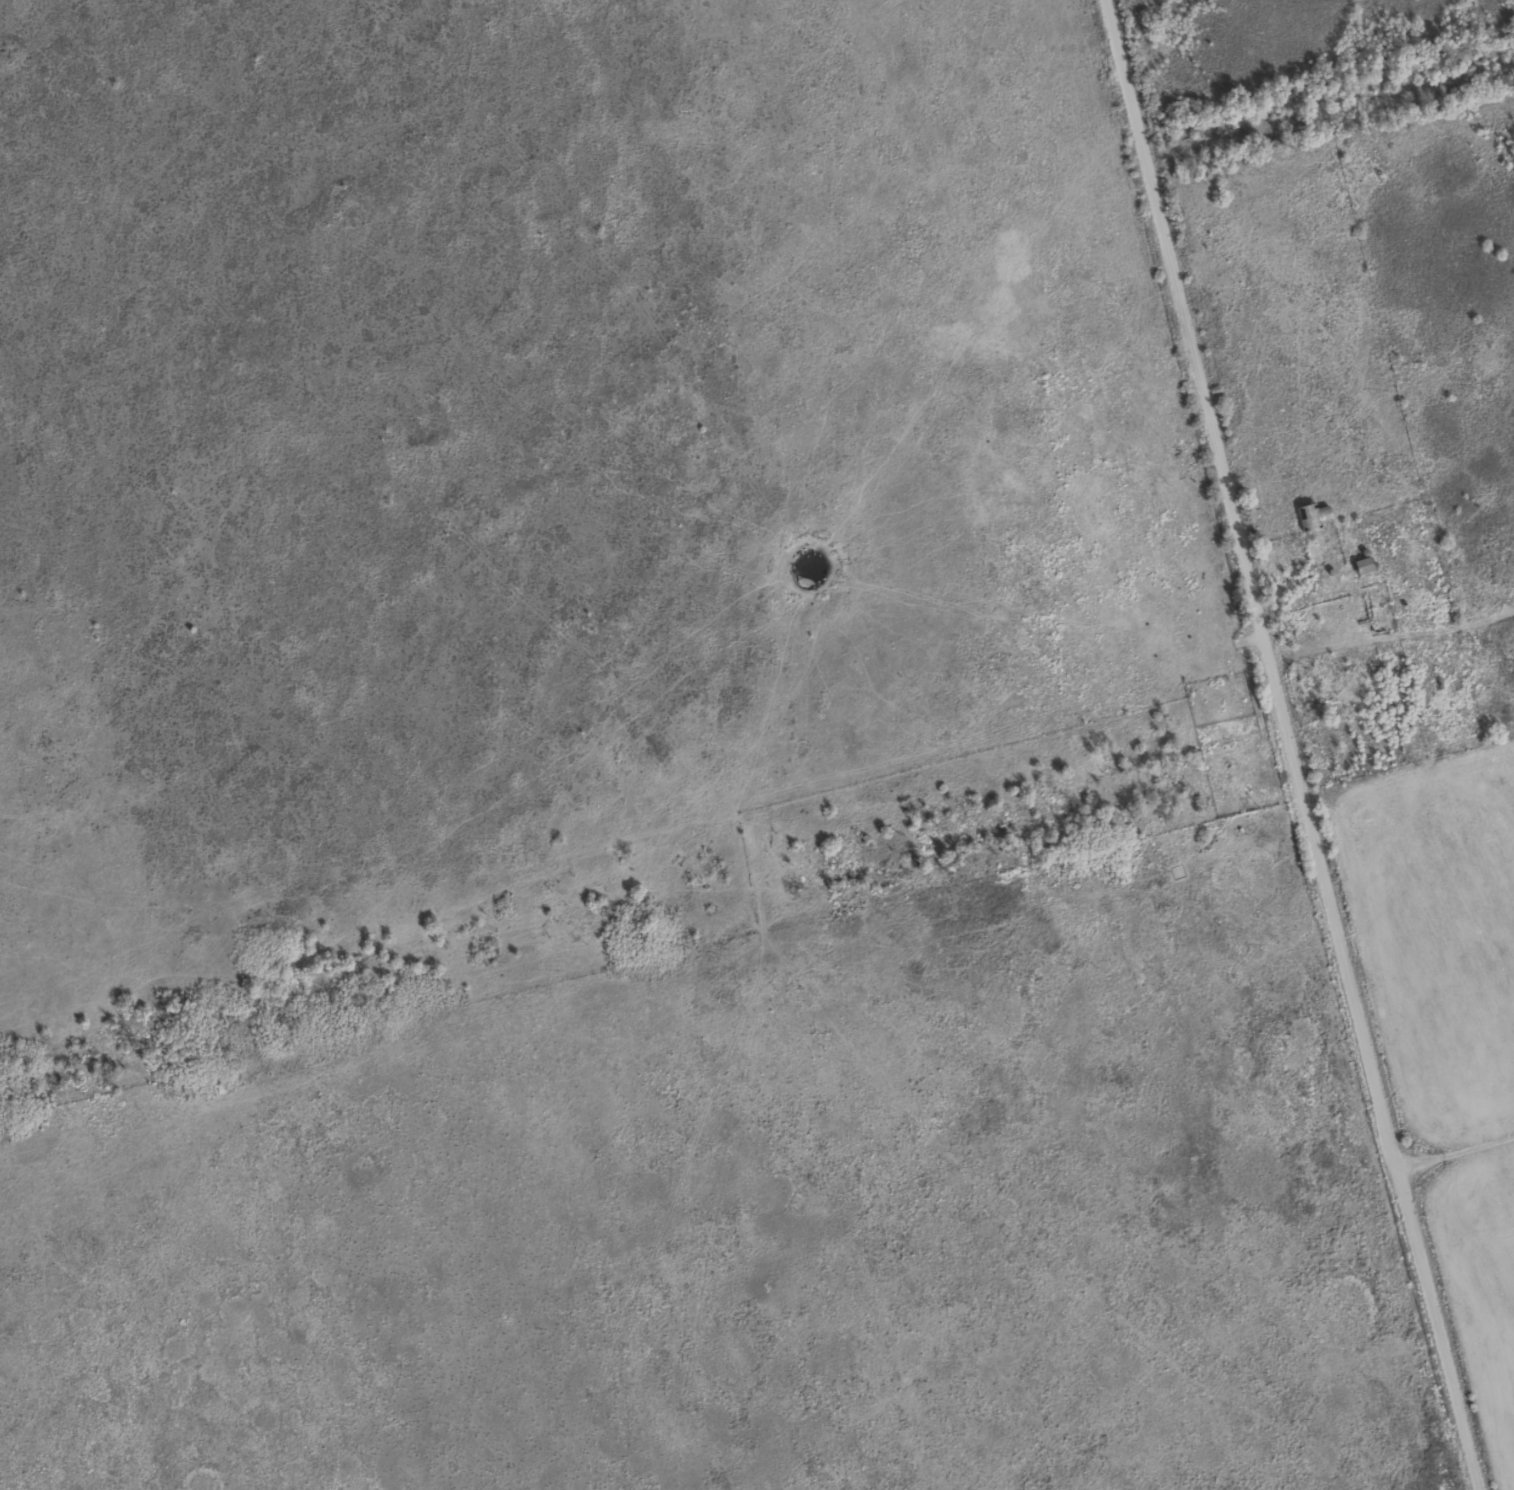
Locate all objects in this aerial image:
building: (1309, 515)
building: (1359, 564)
road: (1285, 745)
road: (1453, 1152)

